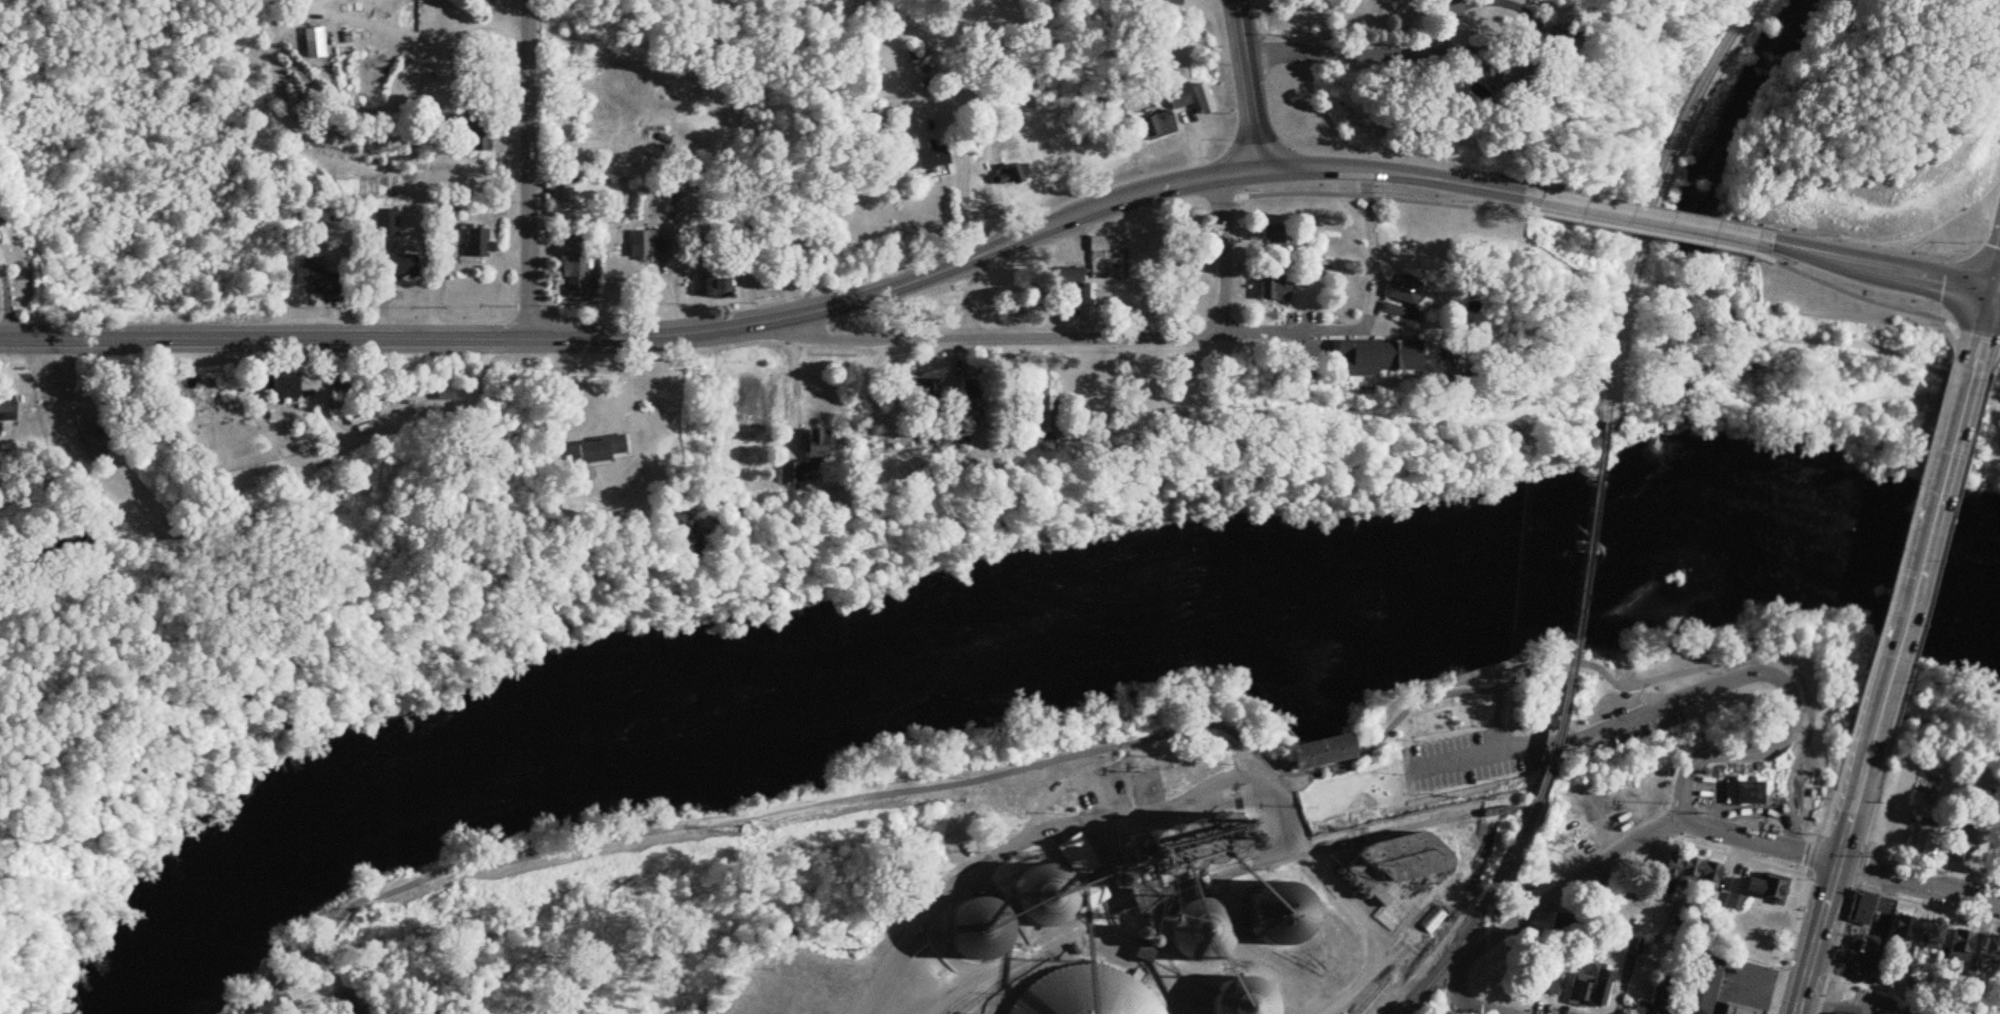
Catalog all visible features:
road: (1506, 41)
building: (311, 44)
road: (1361, 54)
building: (1523, 69)
road: (1242, 84)
building: (1178, 99)
building: (1202, 99)
road: (964, 160)
road: (525, 168)
building: (1007, 176)
road: (1132, 193)
road: (1375, 197)
railway: (1650, 201)
road: (1644, 217)
building: (384, 229)
road: (1641, 232)
building: (1273, 238)
building: (469, 246)
road: (1222, 253)
road: (1882, 267)
building: (574, 269)
road: (1995, 276)
road: (1371, 279)
building: (1278, 290)
building: (1406, 290)
traffic signals: (1991, 292)
road: (1995, 292)
road: (1865, 298)
road: (5, 310)
building: (1404, 312)
road: (1982, 327)
road: (1027, 335)
road: (383, 338)
building: (1411, 355)
building: (1688, 383)
building: (285, 388)
road: (790, 388)
building: (970, 388)
building: (337, 390)
building: (443, 396)
road: (1977, 396)
road: (1858, 405)
building: (7, 410)
building: (89, 447)
building: (606, 450)
building: (814, 456)
railway: (1582, 531)
road: (1919, 553)
river: (1029, 645)
railway: (1560, 675)
road: (1794, 698)
road: (1493, 723)
railway: (1547, 743)
park: (1444, 744)
road: (1109, 746)
road: (1519, 747)
building: (1327, 752)
parking lot: (1453, 761)
power tower: (965, 776)
building: (1742, 793)
road: (1701, 826)
power tower: (741, 831)
building: (1073, 863)
building: (1400, 866)
railway: (1224, 876)
road: (1830, 878)
road: (973, 879)
building: (1763, 886)
railway: (1487, 904)
power tower: (377, 917)
building: (1561, 924)
building: (1898, 926)
building: (980, 930)
building: (1744, 937)
building: (1943, 941)
building: (1988, 947)
railway: (993, 982)
building: (1699, 986)
building: (1598, 988)
railway: (1366, 997)
building: (1658, 998)
park: (299, 1000)
road: (1475, 1007)
building: (1740, 1008)
railway: (1375, 1009)

